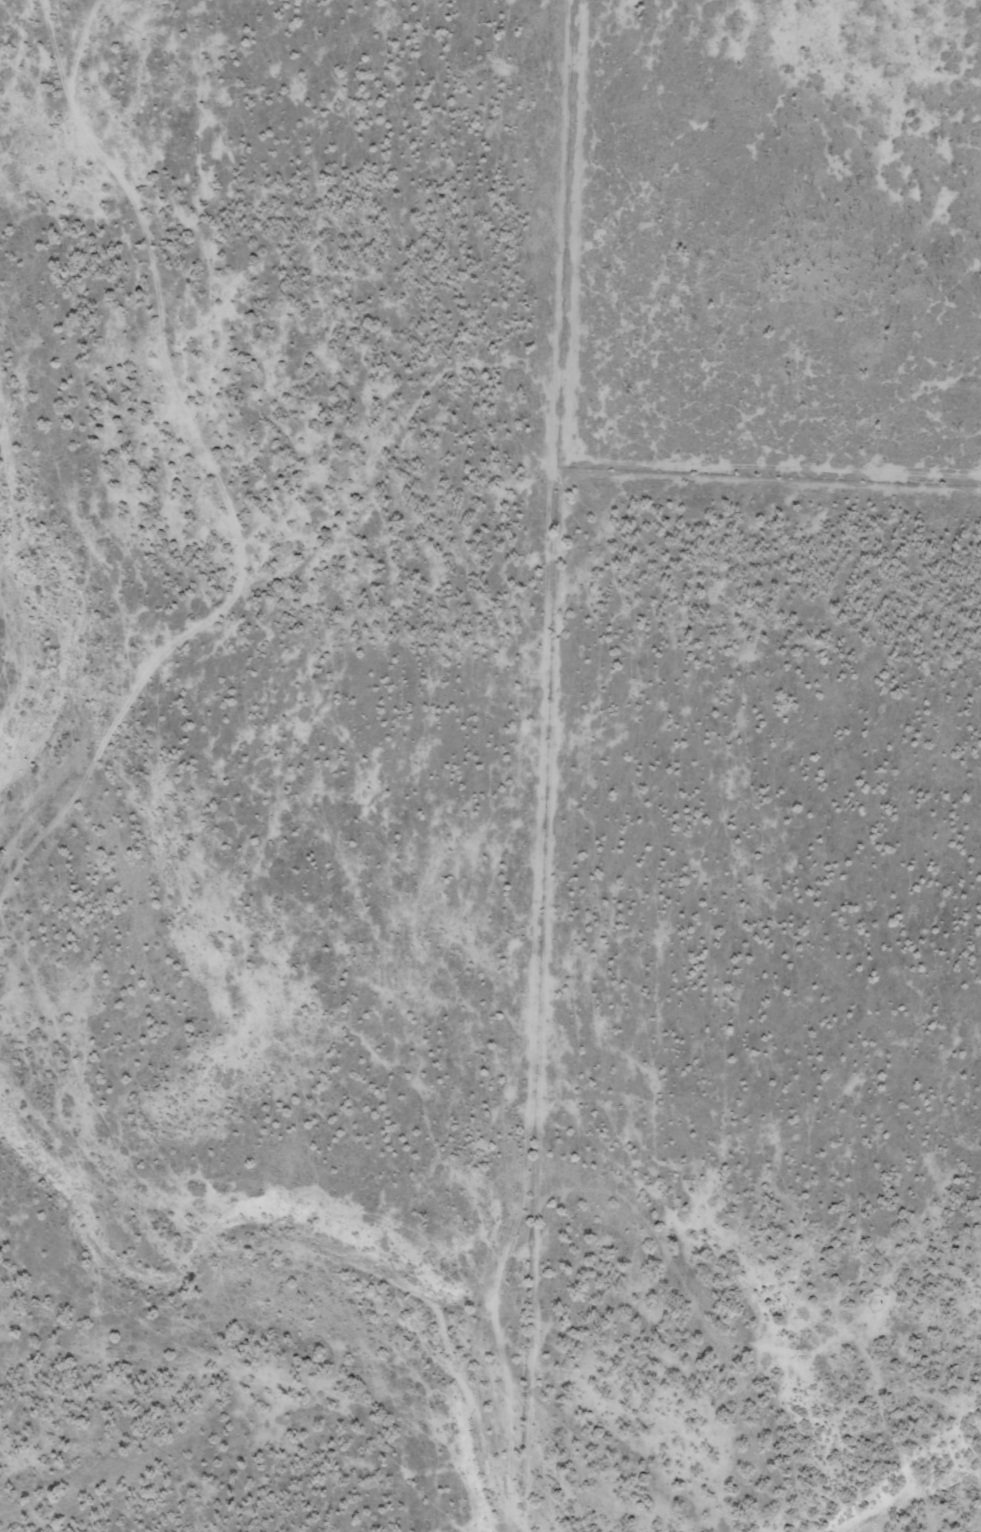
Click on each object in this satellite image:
road: (251, 506)

